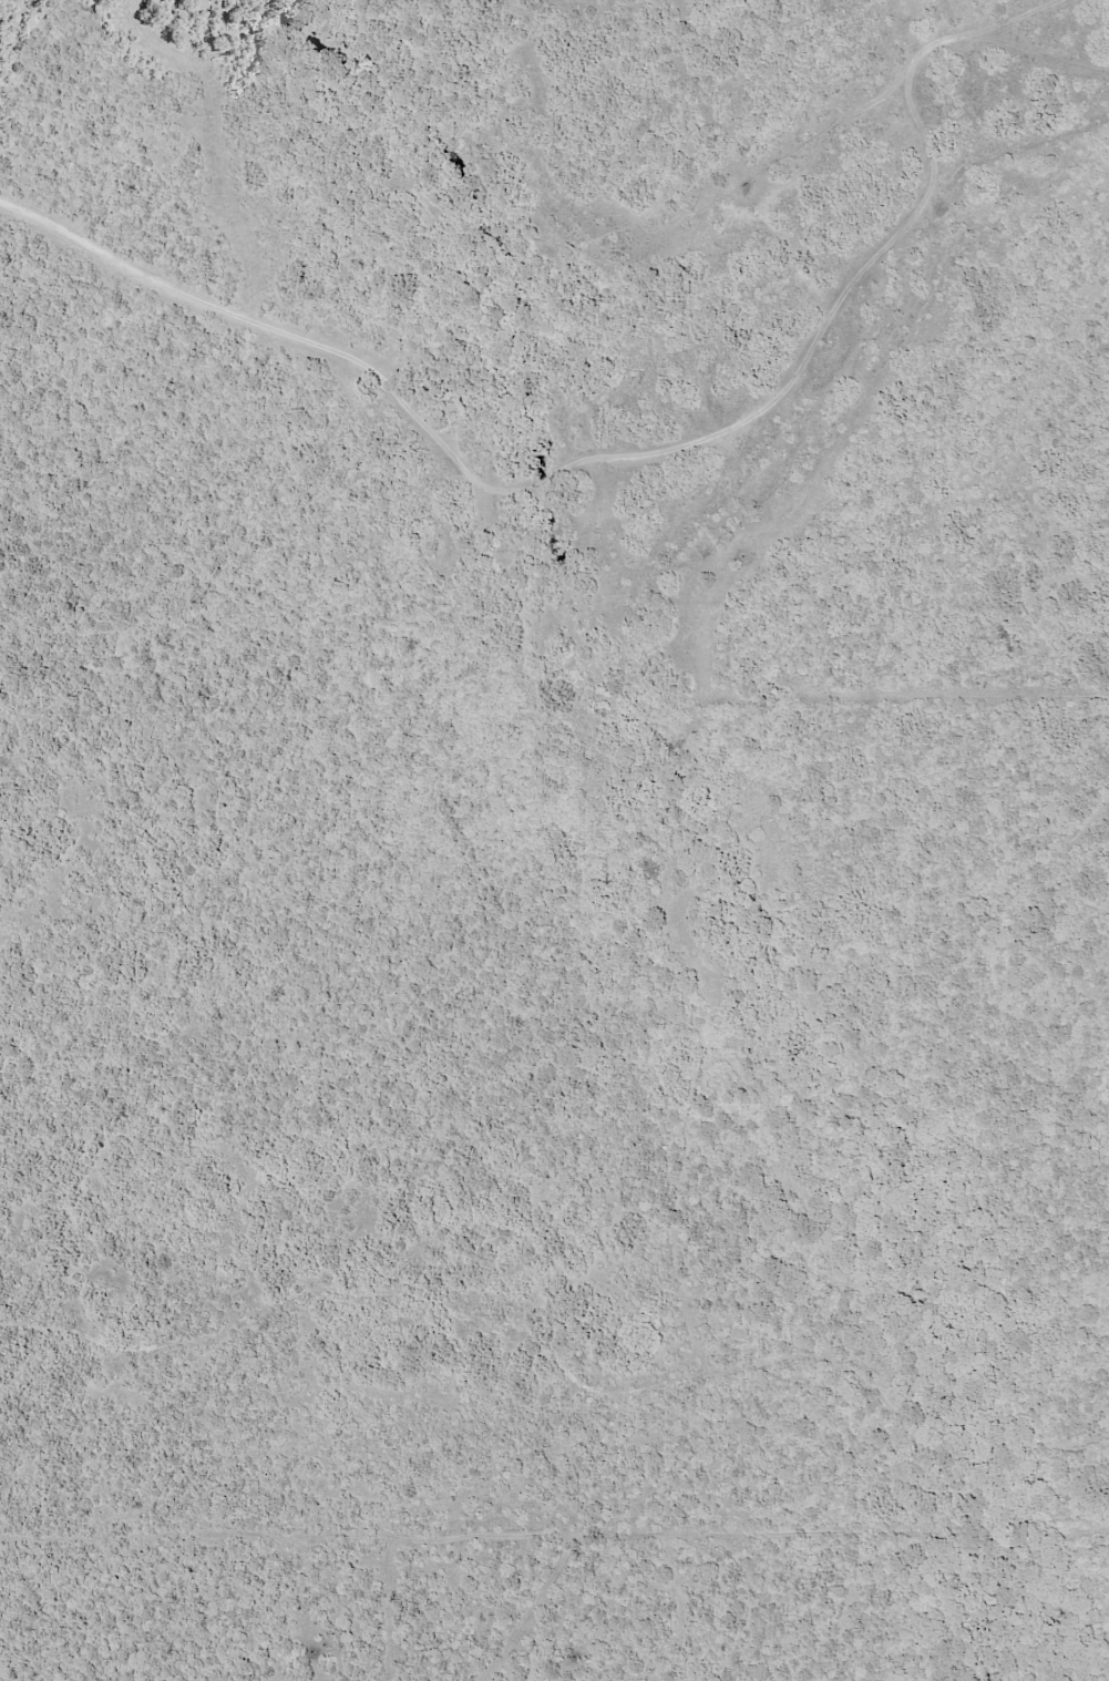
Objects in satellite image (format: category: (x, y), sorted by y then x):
road: (627, 430)
road: (564, 1393)

